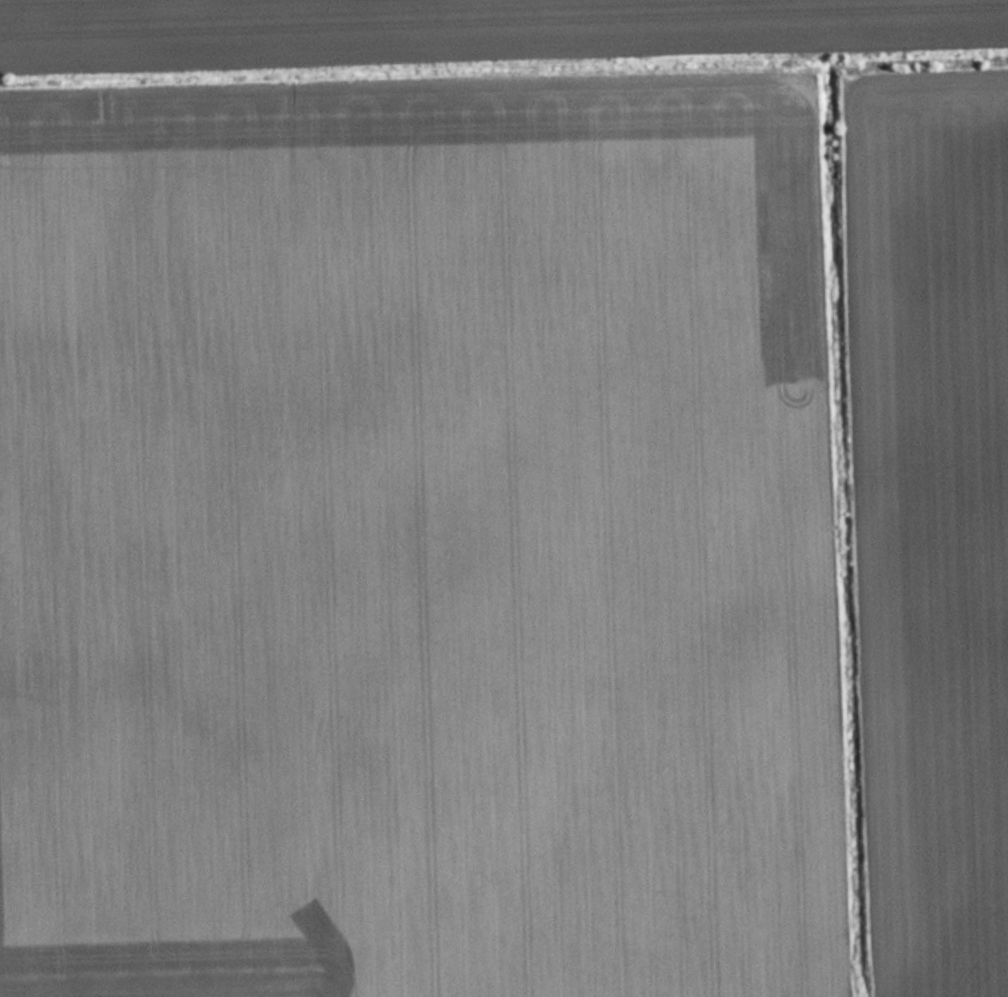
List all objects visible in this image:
road: (318, 880)

